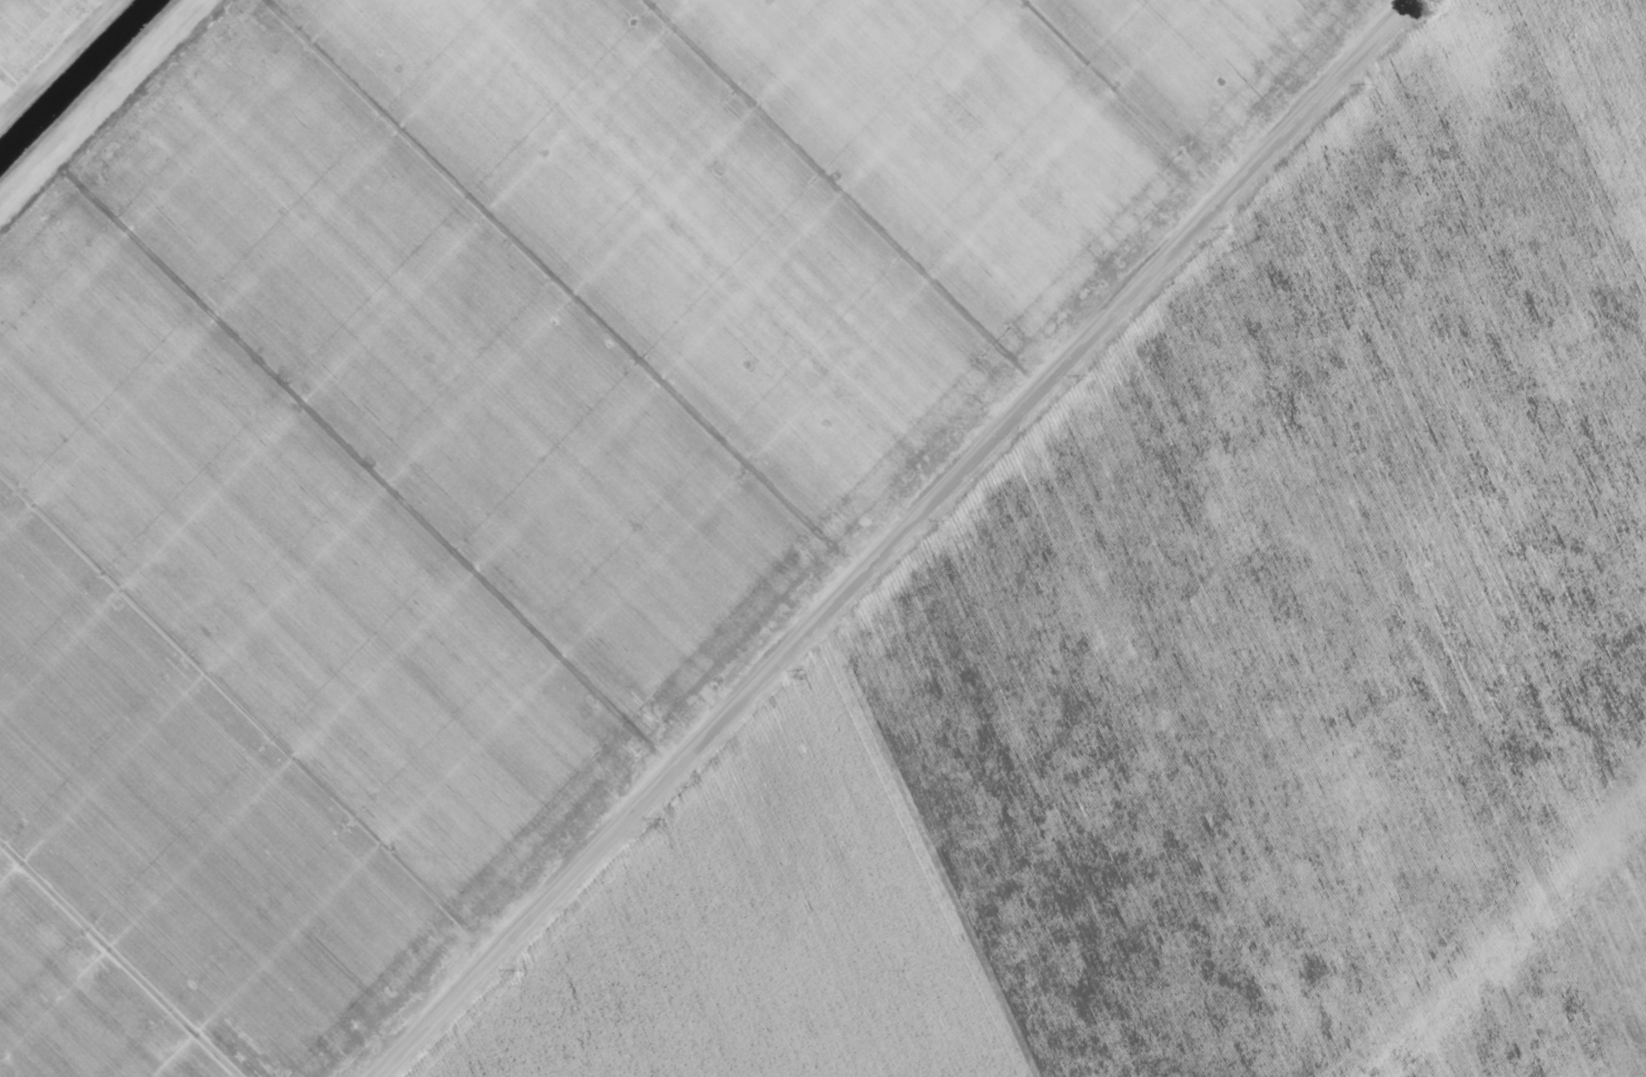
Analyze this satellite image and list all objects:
road: (59, 61)
road: (991, 538)

